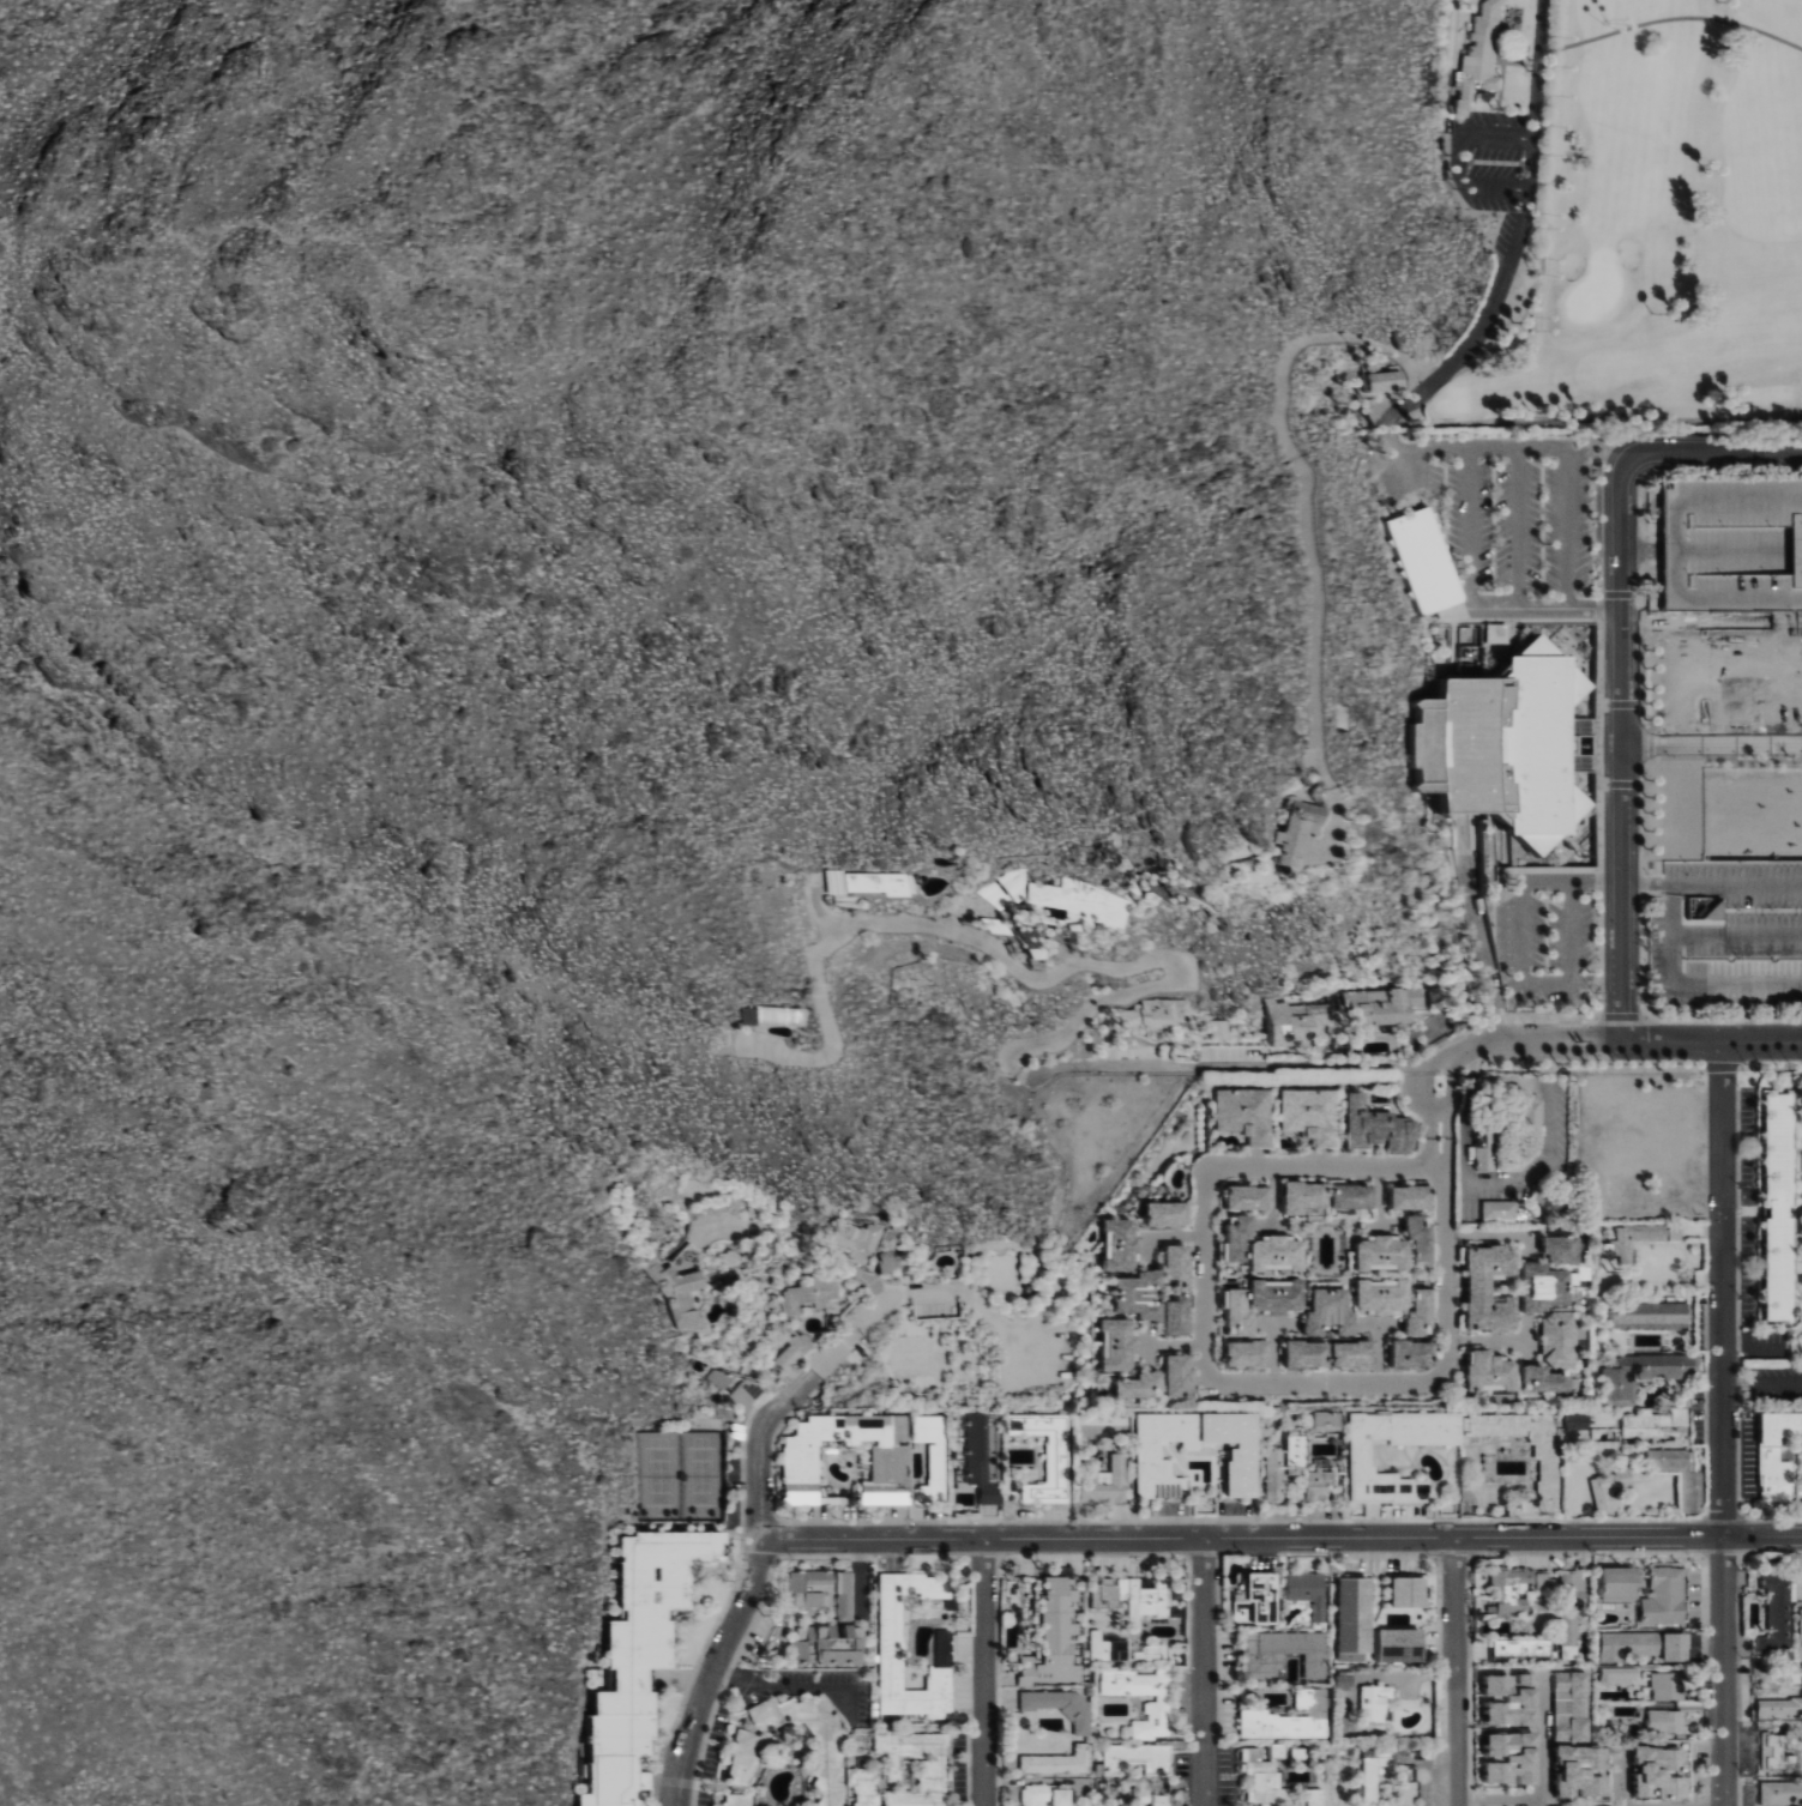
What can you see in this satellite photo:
building: (1479, 60)
road: (1538, 68)
road: (1469, 135)
parking lot: (1501, 176)
park: (1632, 217)
road: (433, 278)
road: (691, 288)
road: (801, 319)
road: (1462, 351)
building: (1387, 380)
road: (1545, 447)
road: (1456, 449)
road: (1704, 451)
road: (1306, 520)
parking lot: (1502, 521)
road: (1515, 527)
road: (1566, 533)
building: (1732, 543)
parking garage: (1732, 543)
road: (1640, 545)
road: (1469, 549)
road: (884, 552)
building: (1422, 562)
road: (758, 566)
road: (1567, 608)
road: (1690, 622)
building: (1497, 633)
building: (1499, 744)
road: (1710, 749)
road: (1617, 757)
building: (1300, 830)
building: (881, 882)
road: (1710, 884)
building: (1079, 899)
building: (1708, 908)
road: (1481, 930)
parking lot: (1725, 937)
road: (1044, 977)
building: (1382, 1007)
building: (1158, 1013)
building: (769, 1015)
building: (1288, 1022)
building: (1221, 1028)
road: (1711, 1041)
road: (1328, 1070)
building: (1526, 1101)
building: (1246, 1113)
building: (1313, 1113)
building: (1379, 1127)
building: (1487, 1149)
road: (1060, 1165)
road: (1321, 1165)
building: (1354, 1196)
building: (1249, 1197)
building: (1412, 1197)
building: (1307, 1198)
building: (1779, 1207)
building: (1501, 1210)
building: (1168, 1214)
road: (1442, 1227)
road: (1170, 1234)
building: (1421, 1236)
building: (1240, 1237)
road: (1487, 1237)
building: (1643, 1237)
building: (858, 1239)
road: (800, 1242)
building: (1122, 1245)
building: (1562, 1249)
building: (1278, 1254)
building: (1384, 1254)
building: (890, 1263)
building: (1180, 1264)
road: (1203, 1273)
building: (1547, 1286)
building: (1490, 1288)
building: (813, 1292)
building: (1140, 1295)
building: (1278, 1295)
building: (1384, 1295)
building: (682, 1298)
building: (1331, 1312)
building: (1240, 1313)
building: (1422, 1313)
building: (1651, 1315)
building: (1177, 1316)
building: (1560, 1339)
building: (1801, 1339)
road: (1485, 1341)
building: (1119, 1345)
road: (1170, 1346)
building: (795, 1349)
building: (1248, 1353)
building: (1308, 1354)
building: (1354, 1354)
building: (1414, 1354)
building: (1490, 1371)
building: (1645, 1372)
building: (1179, 1376)
building: (1548, 1379)
road: (1325, 1382)
building: (734, 1385)
building: (1141, 1385)
road: (1762, 1385)
parking lot: (1771, 1388)
building: (1326, 1420)
building: (1578, 1420)
road: (1723, 1424)
building: (1656, 1425)
building: (1545, 1450)
building: (1243, 1454)
building: (1773, 1454)
building: (982, 1455)
building: (1296, 1455)
building: (932, 1456)
building: (1057, 1458)
building: (1362, 1458)
building: (891, 1462)
building: (1274, 1475)
building: (1680, 1476)
building: (1107, 1482)
building: (1319, 1484)
building: (1610, 1490)
road: (758, 1493)
road: (1280, 1538)
building: (1543, 1582)
building: (1621, 1583)
building: (812, 1588)
building: (1512, 1589)
building: (1309, 1590)
building: (1409, 1590)
building: (845, 1595)
building: (1133, 1596)
building: (1264, 1596)
building: (1665, 1596)
building: (1572, 1607)
building: (1239, 1609)
building: (1777, 1609)
building: (1055, 1635)
building: (1801, 1639)
building: (828, 1644)
building: (1400, 1644)
building: (1632, 1644)
building: (1676, 1645)
building: (1527, 1648)
building: (888, 1649)
building: (1121, 1649)
building: (1285, 1651)
building: (641, 1657)
road: (983, 1672)
road: (1204, 1672)
road: (1457, 1672)
building: (1620, 1674)
building: (1344, 1681)
road: (782, 1683)
building: (1669, 1685)
building: (1509, 1697)
building: (1375, 1701)
building: (1063, 1705)
building: (1780, 1705)
building: (1157, 1709)
road: (854, 1713)
building: (1290, 1717)
building: (1667, 1720)
building: (1277, 1750)
building: (827, 1751)
building: (1774, 1751)
building: (1138, 1757)
building: (1511, 1757)
building: (1059, 1760)
building: (933, 1770)
building: (1661, 1771)
building: (1374, 1774)
building: (1260, 1775)
road: (1619, 1775)
building: (864, 1786)
building: (1782, 1793)
building: (1047, 1795)
road: (1501, 1798)
building: (737, 1799)
building: (1159, 1799)

